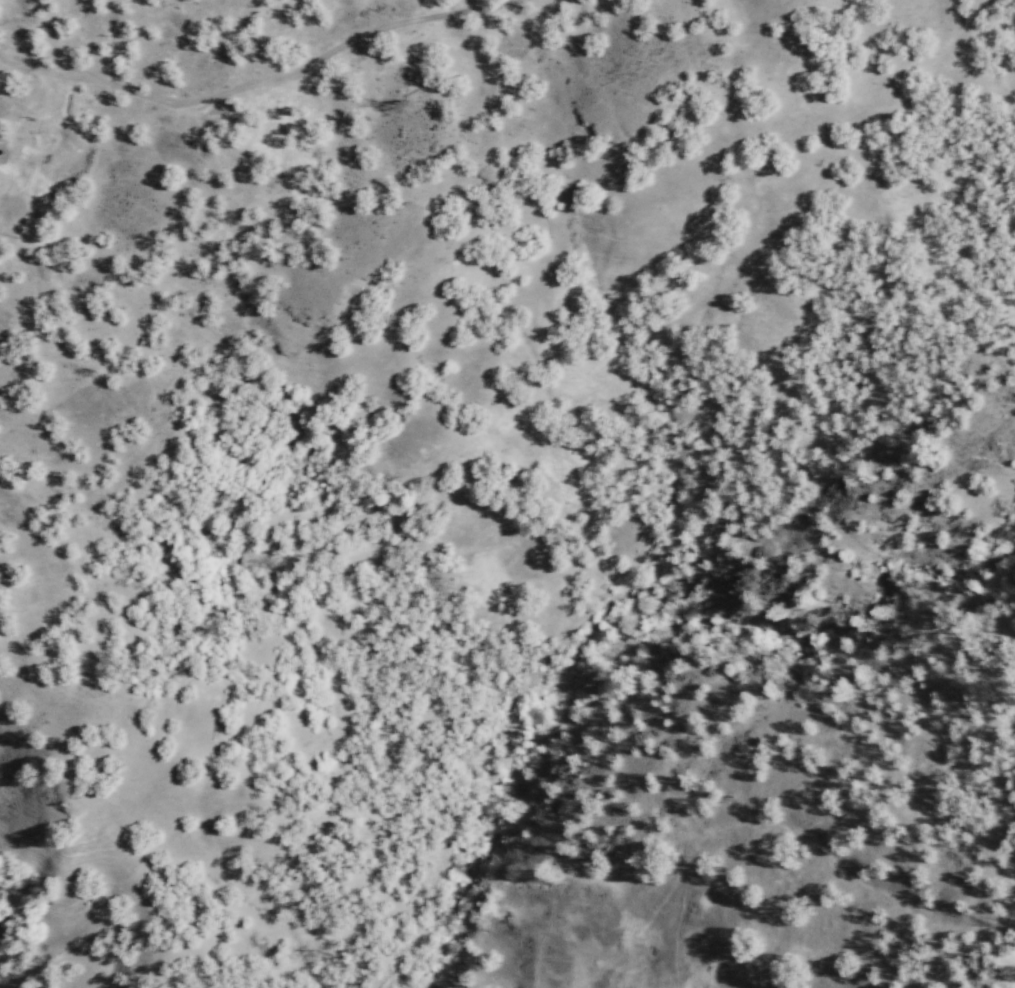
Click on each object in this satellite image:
road: (257, 80)

